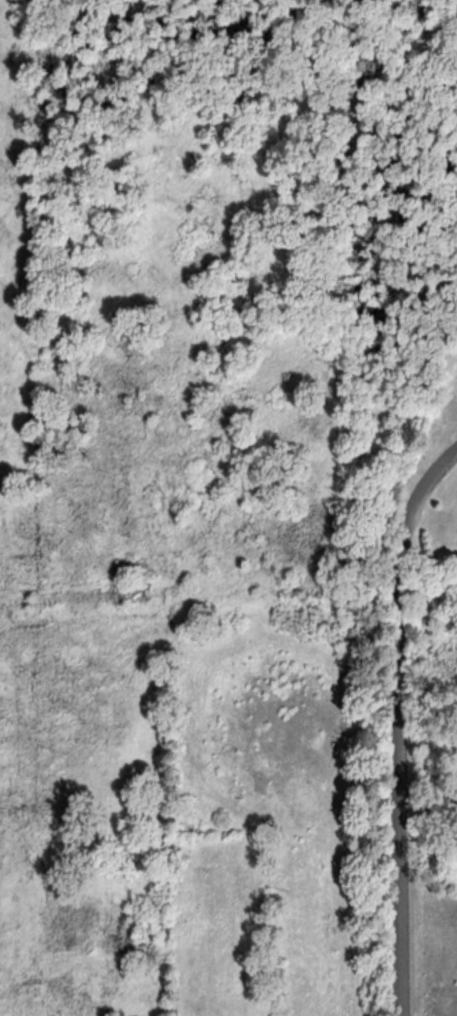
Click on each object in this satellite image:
road: (405, 725)

